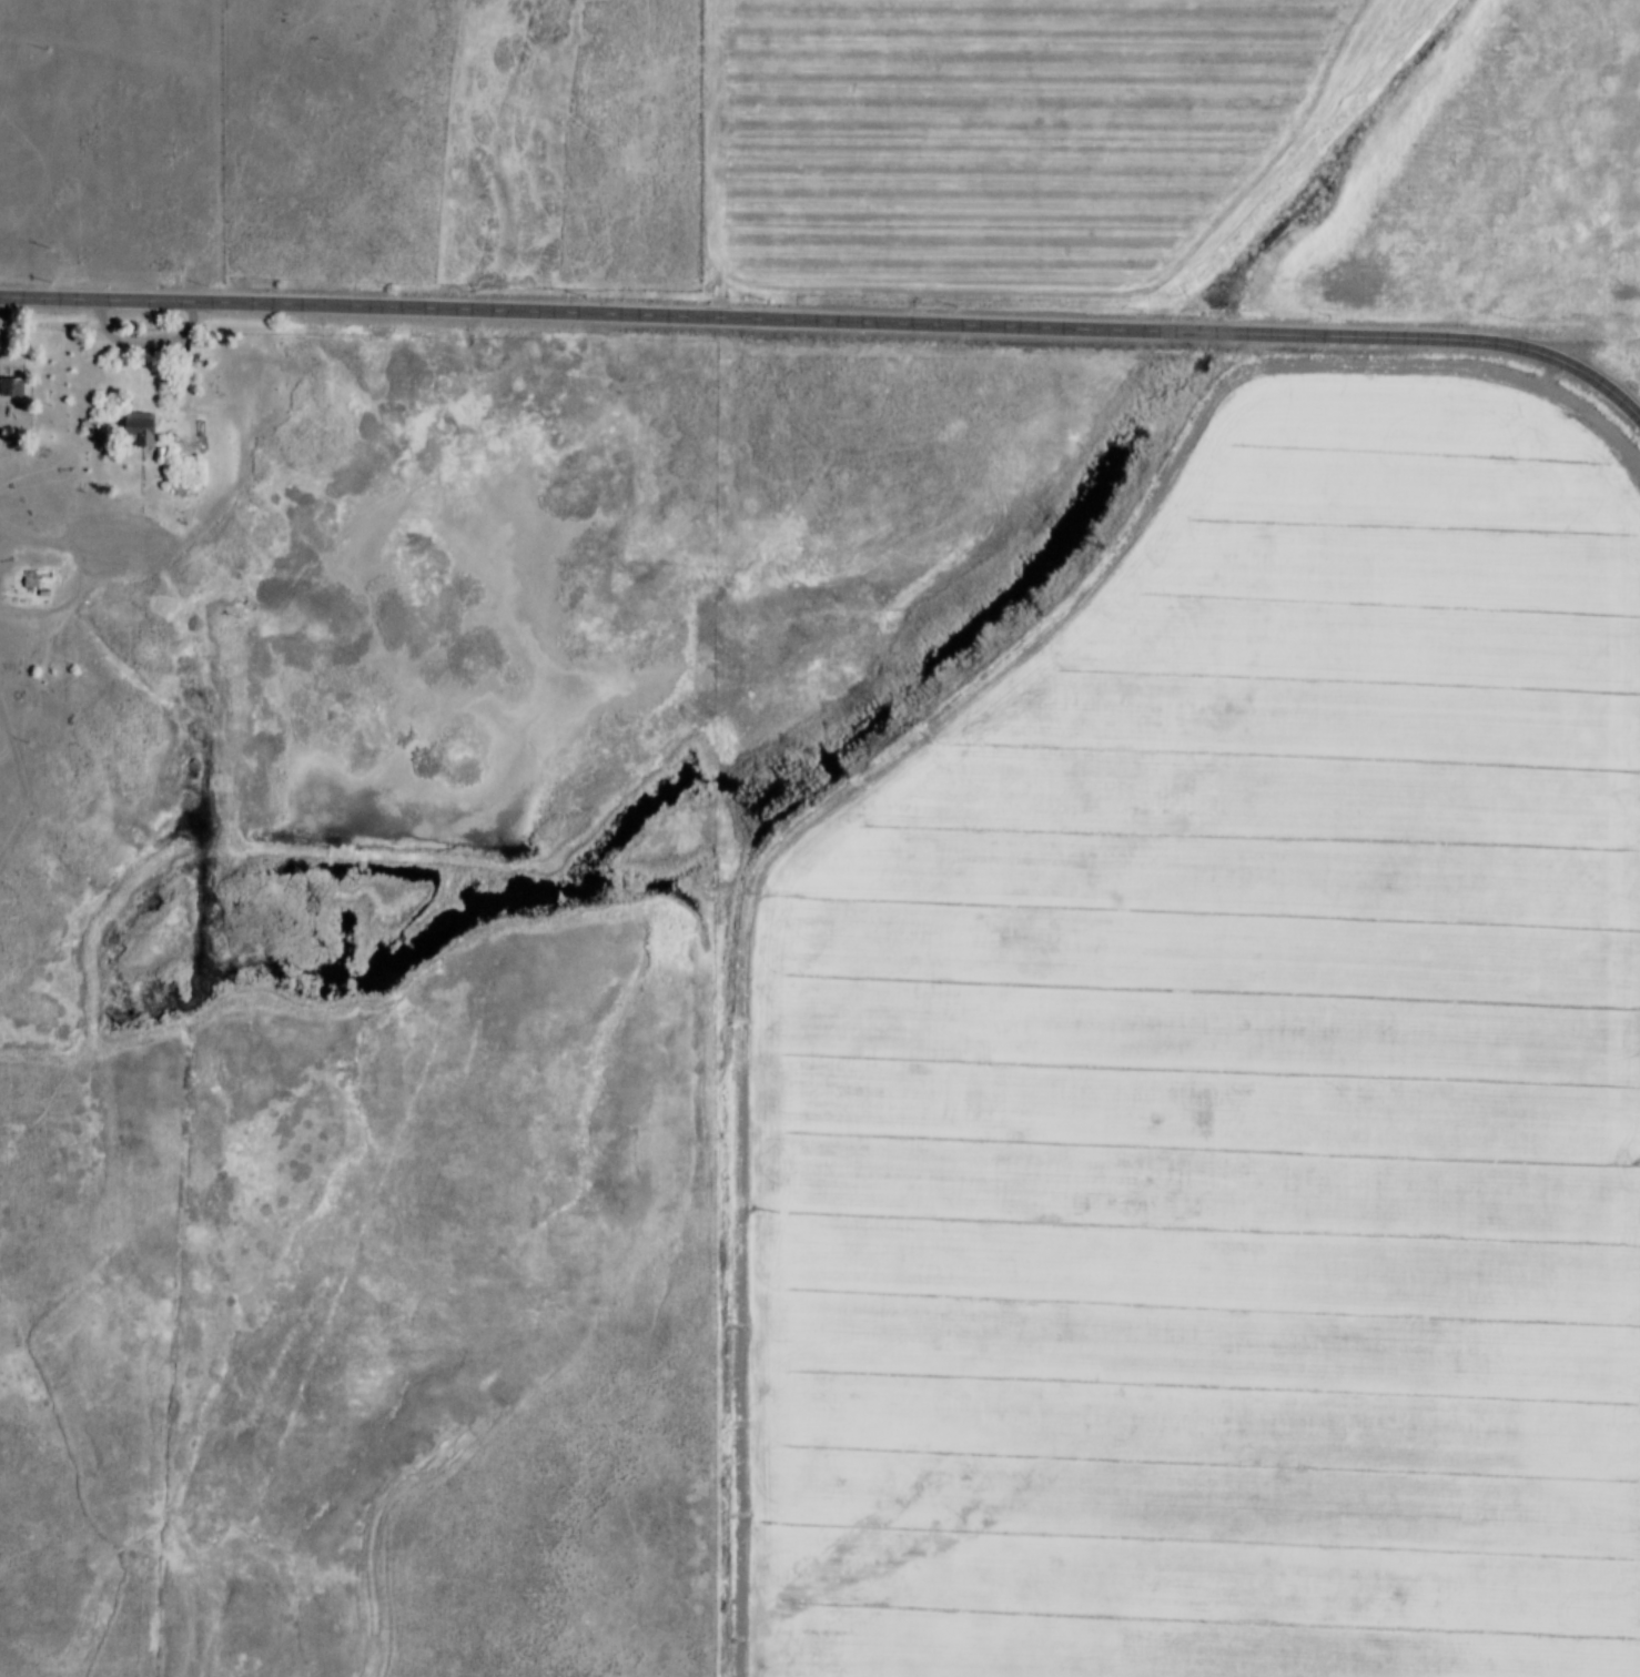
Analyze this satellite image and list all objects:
crop: (1025, 139)
road: (831, 324)
road: (158, 337)
road: (1587, 343)
building: (196, 346)
building: (210, 346)
building: (23, 385)
building: (10, 387)
building: (150, 431)
road: (24, 819)
crop: (1237, 1097)

